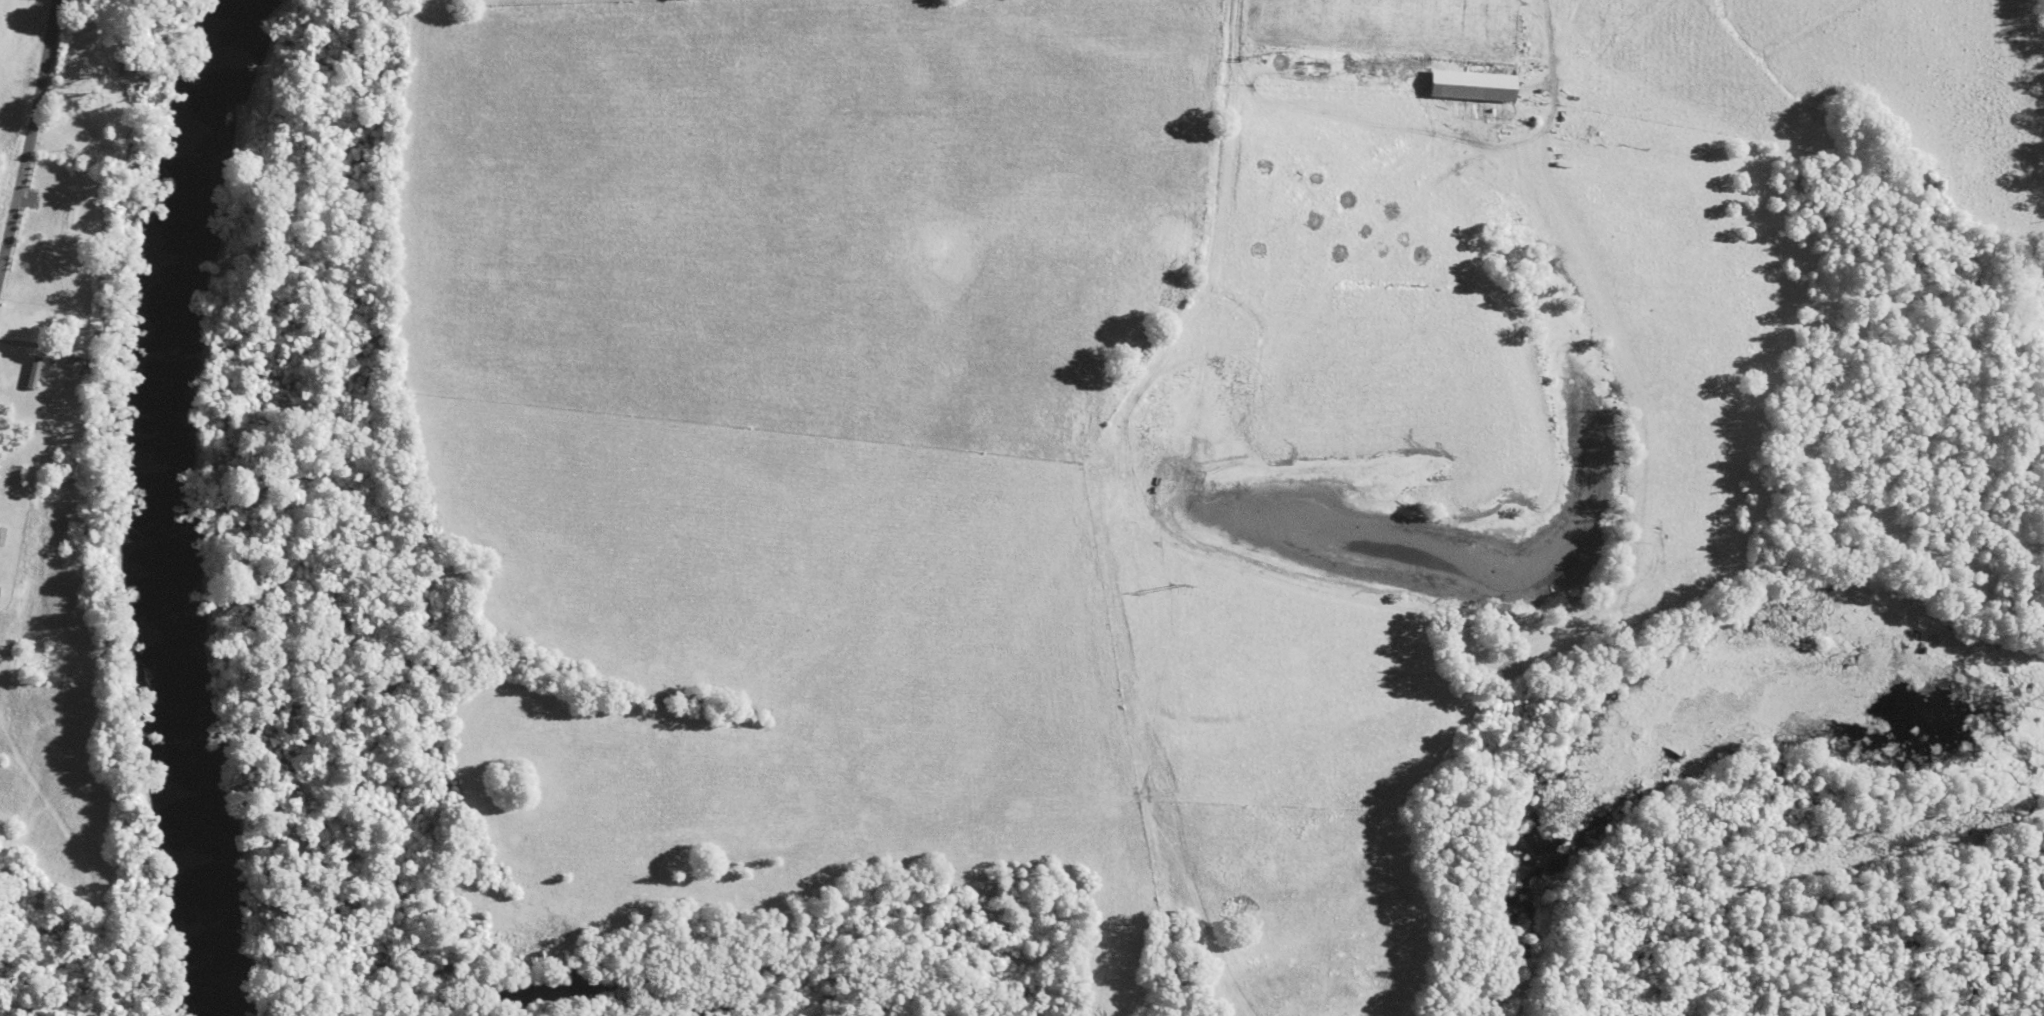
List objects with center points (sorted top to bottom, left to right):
building: (1486, 87)
road: (31, 133)
building: (71, 364)
building: (31, 373)
river: (144, 505)

